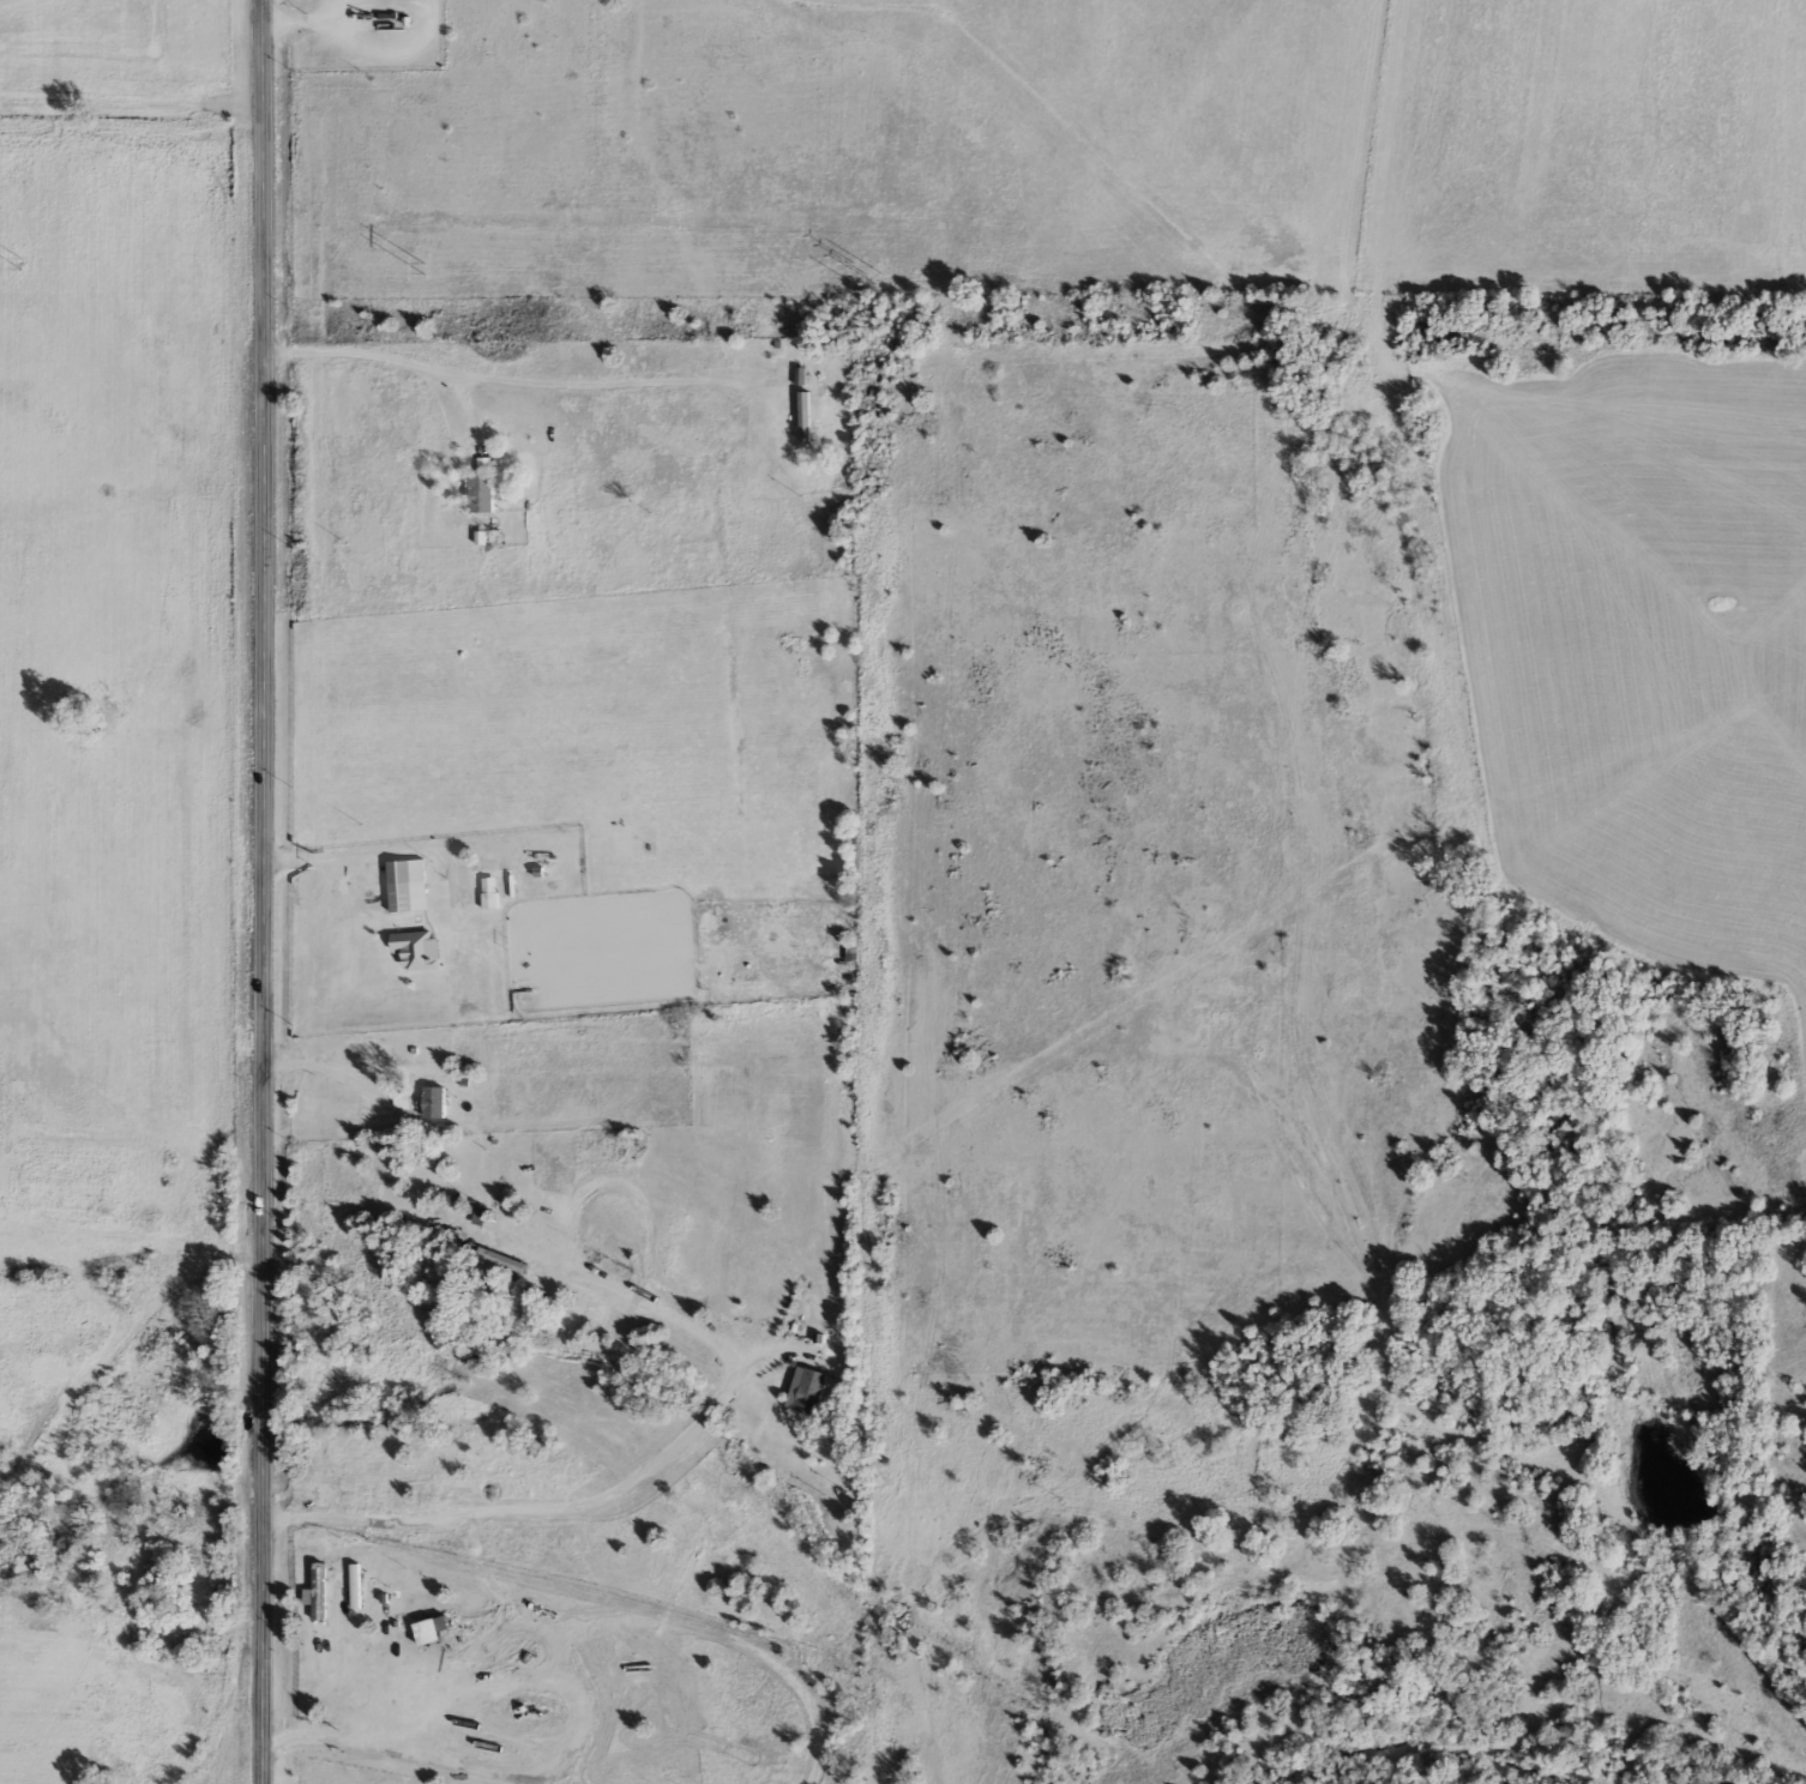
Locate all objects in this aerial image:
building: (797, 374)
road: (505, 375)
building: (805, 403)
building: (478, 493)
building: (622, 496)
road: (377, 850)
road: (264, 891)
building: (488, 891)
building: (398, 896)
building: (431, 1101)
building: (615, 1141)
building: (499, 1258)
building: (806, 1388)
road: (614, 1488)
building: (353, 1583)
building: (314, 1589)

